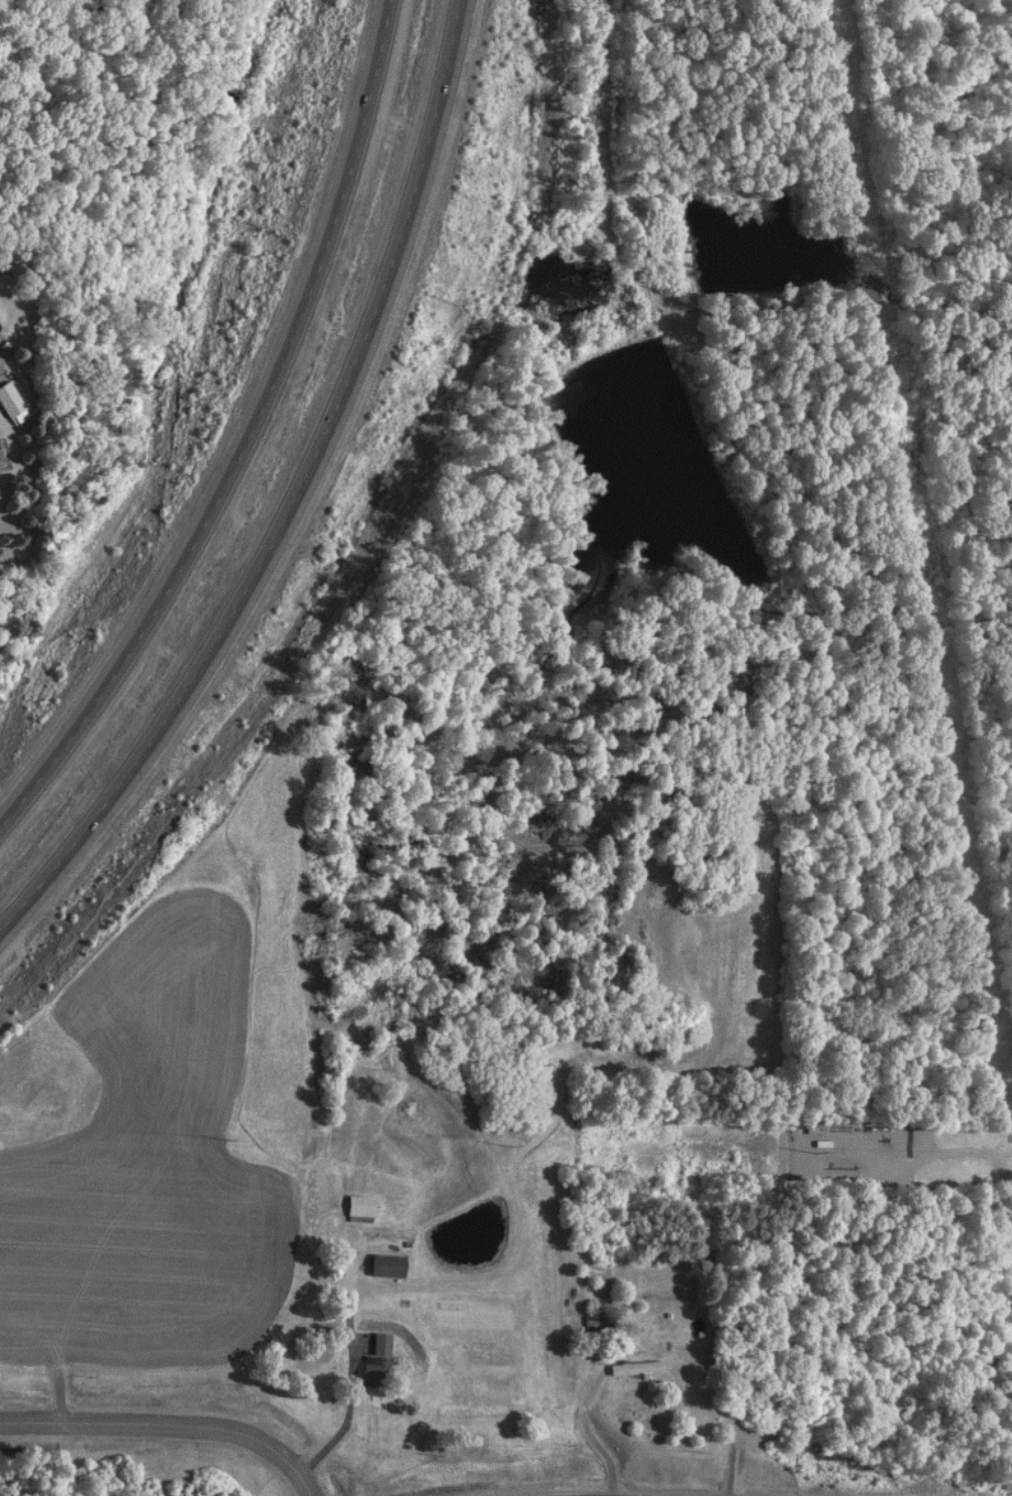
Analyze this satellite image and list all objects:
road: (46, 229)
building: (6, 402)
road: (244, 434)
road: (290, 491)
road: (916, 1148)
building: (355, 1209)
building: (390, 1273)
building: (371, 1364)
building: (635, 1370)
road: (342, 1412)
road: (166, 1424)
road: (583, 1432)

